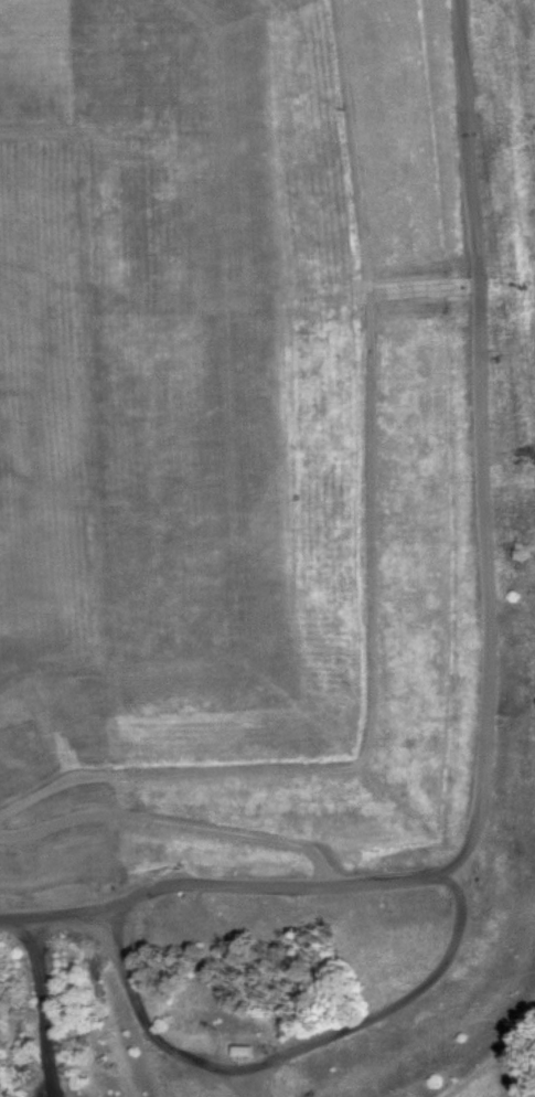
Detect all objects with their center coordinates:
building: (238, 1050)

